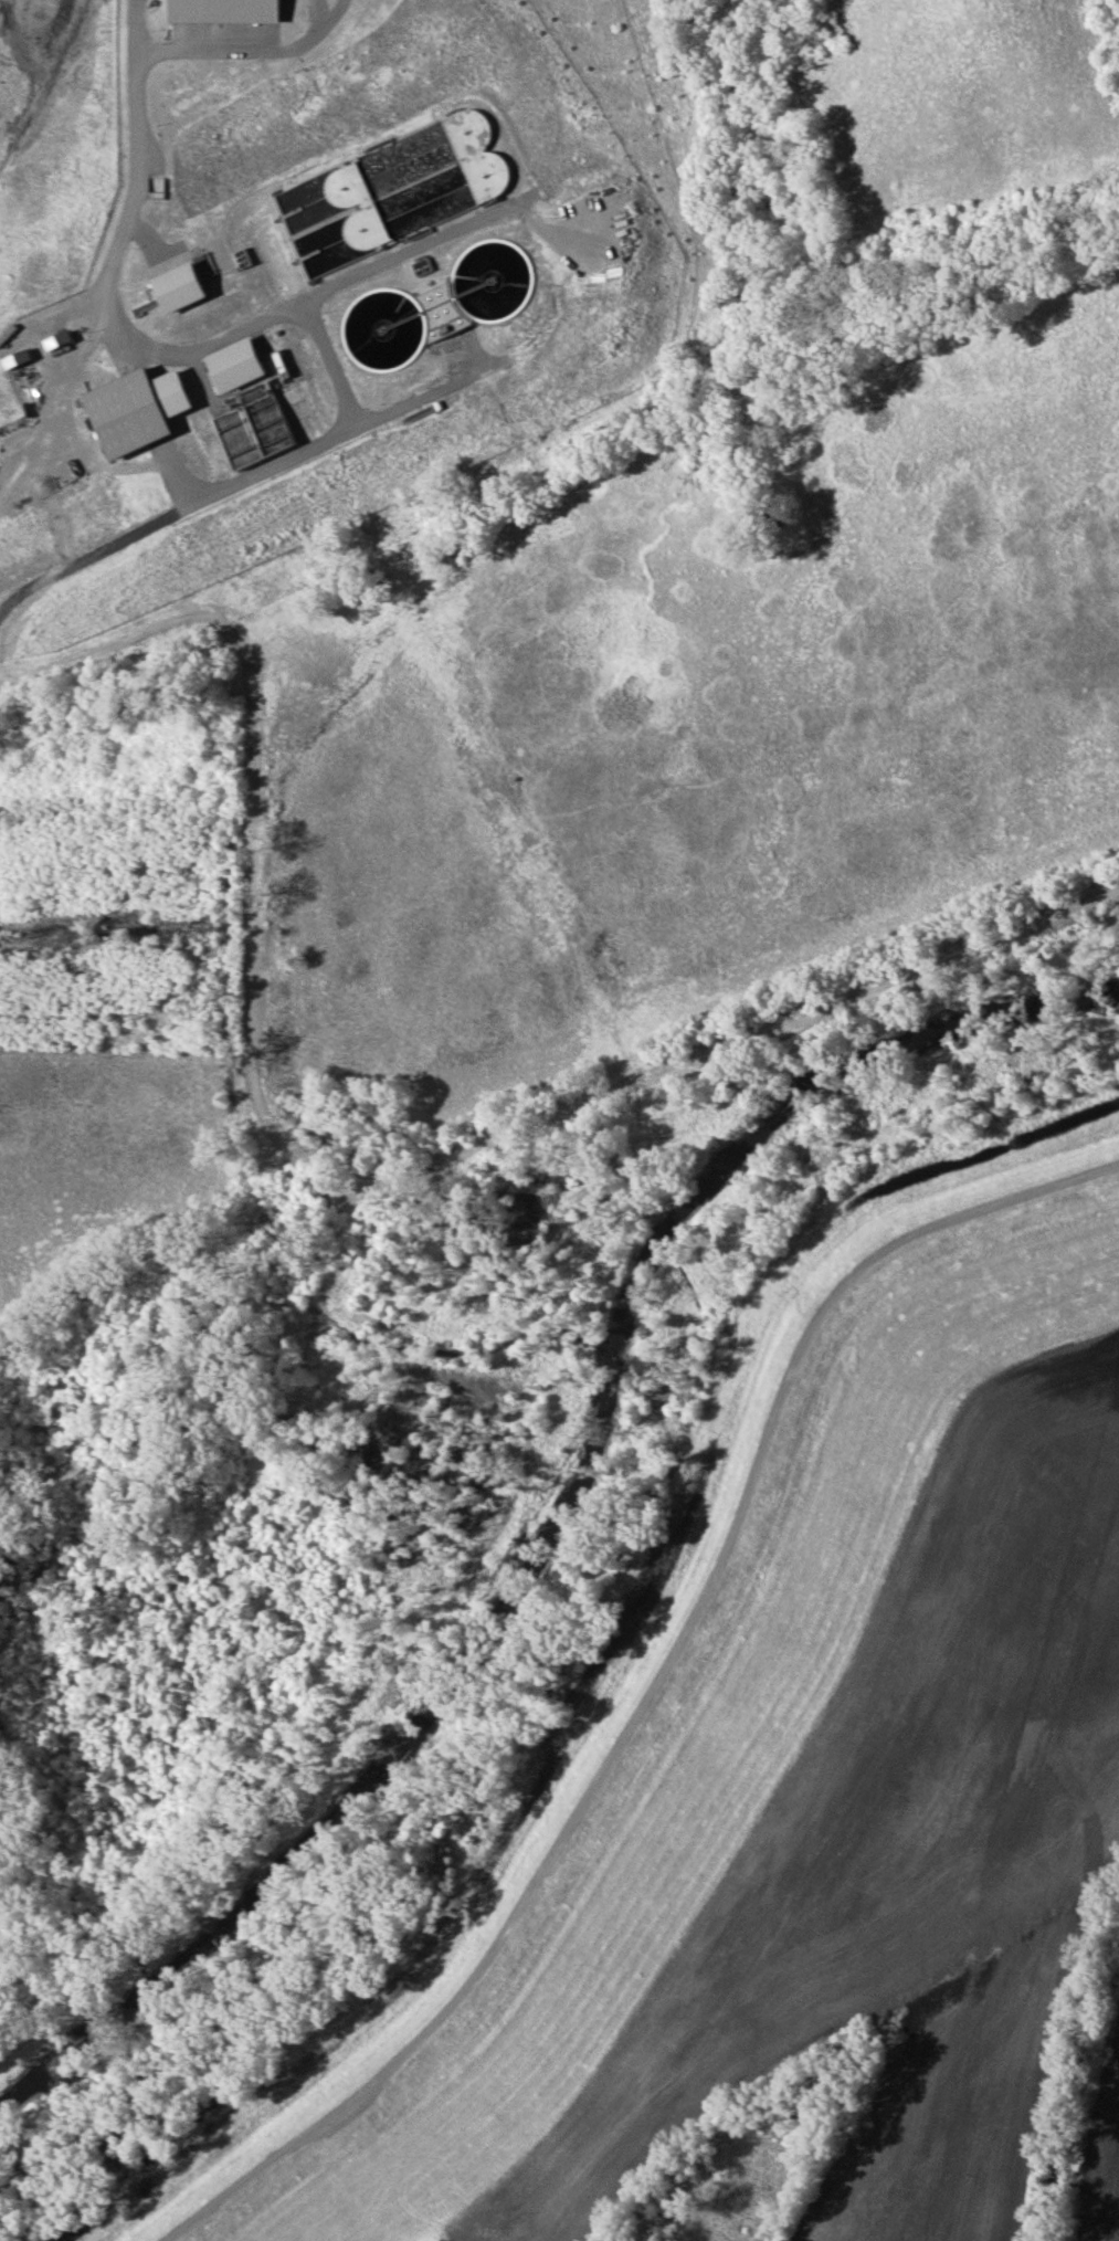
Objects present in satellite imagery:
building: (225, 11)
road: (250, 52)
road: (136, 164)
building: (382, 189)
building: (203, 265)
wastewater plant: (303, 281)
building: (180, 287)
road: (309, 296)
building: (19, 358)
building: (236, 364)
building: (139, 410)
building: (255, 423)
road: (203, 499)
road: (98, 553)
road: (251, 812)
road: (737, 1041)
crop: (110, 1143)
road: (652, 1691)
crop: (859, 1812)
crop: (1102, 2154)
crop: (944, 2168)

